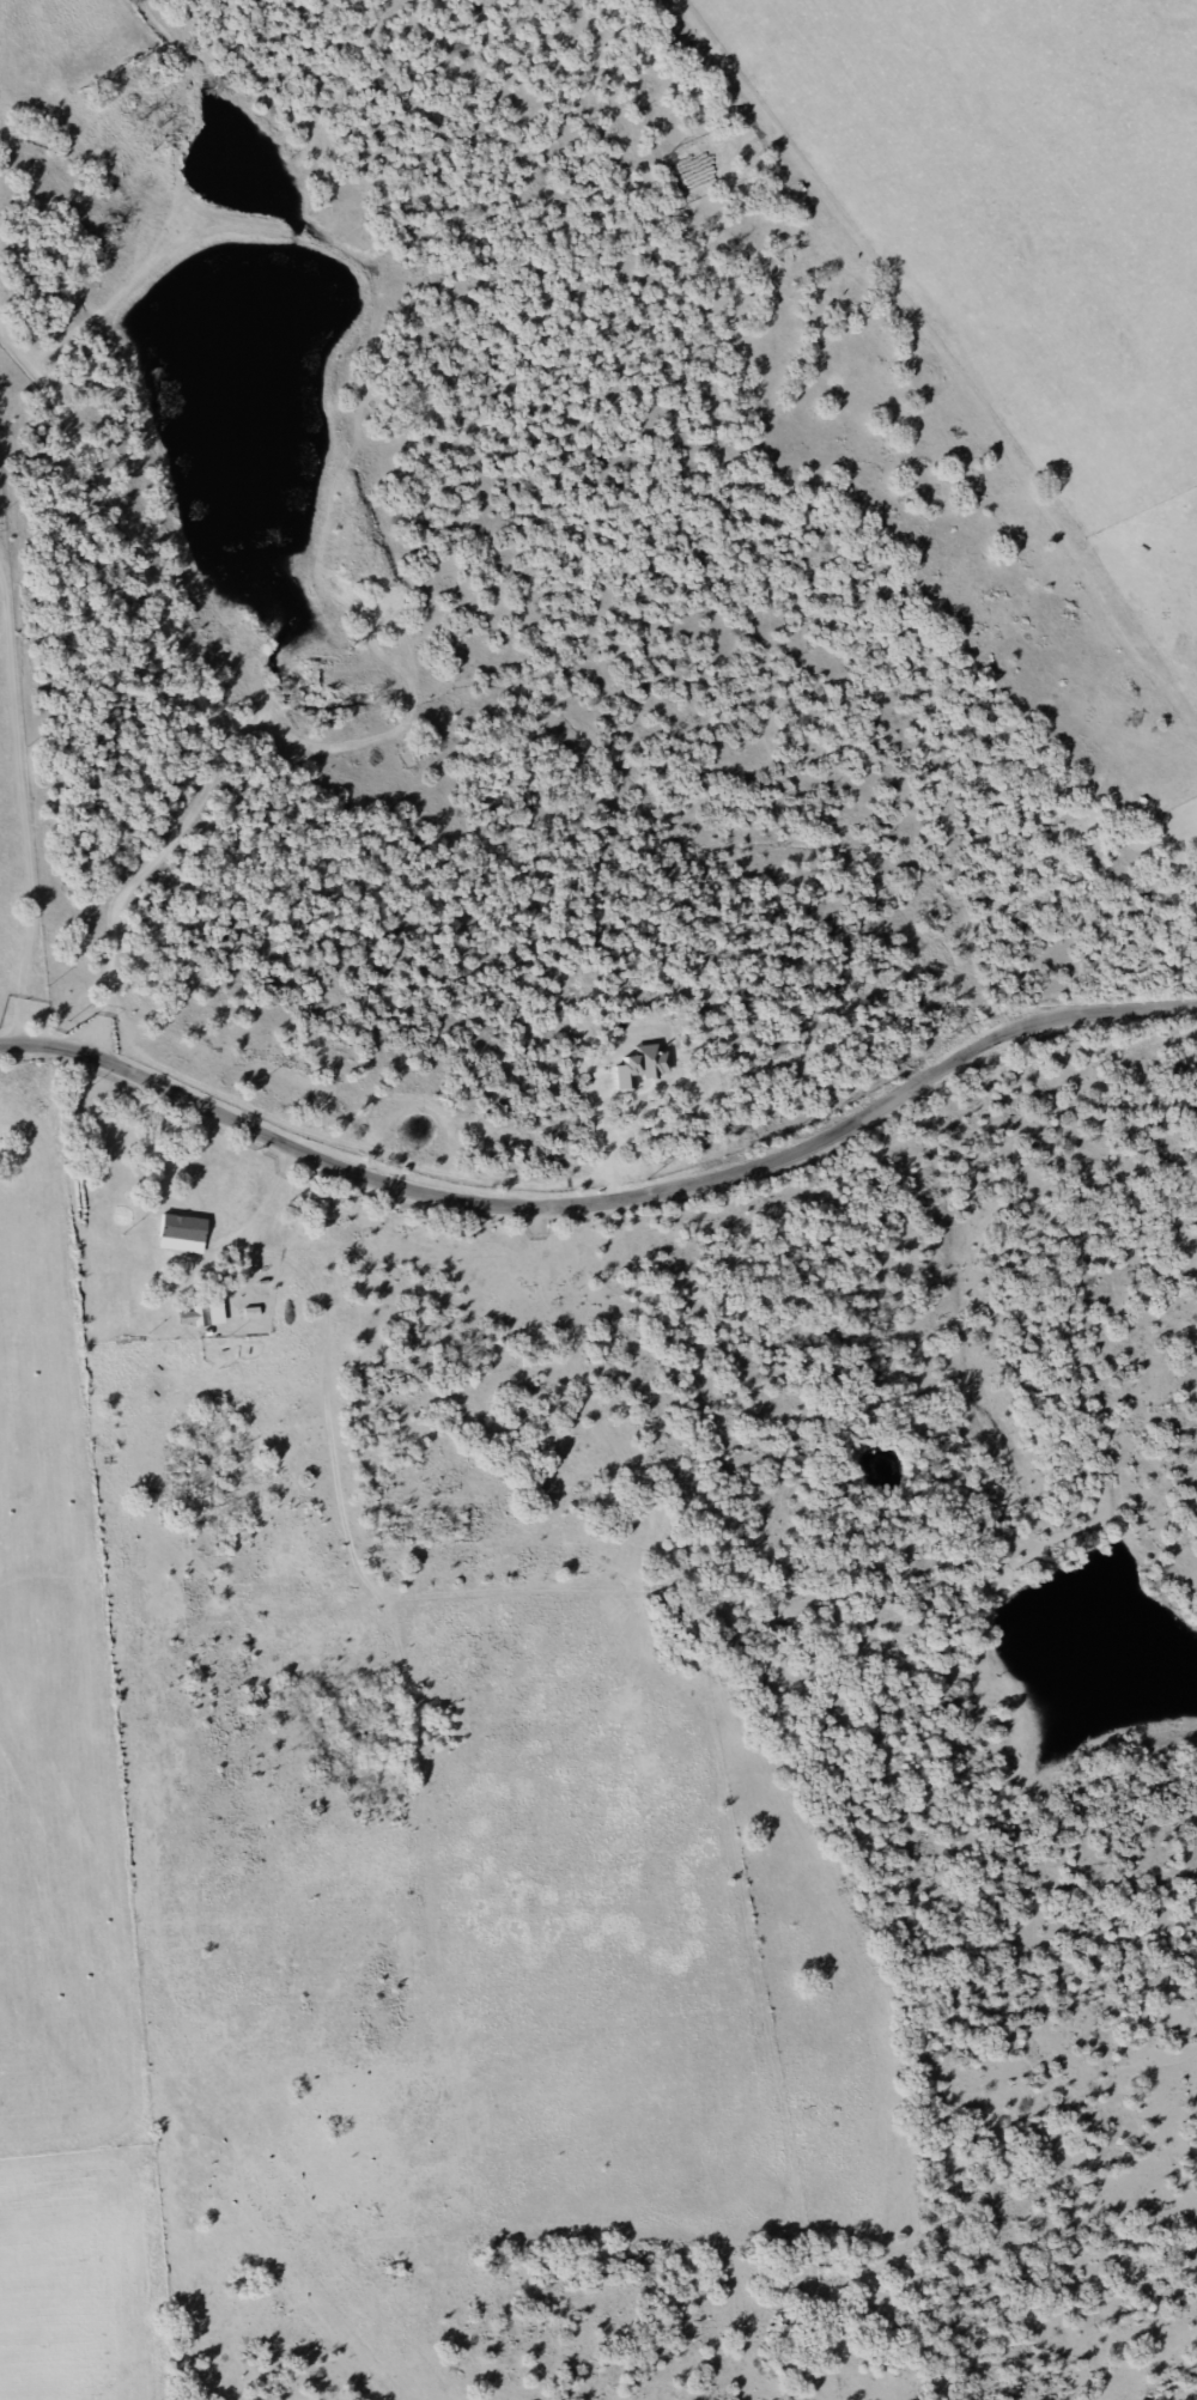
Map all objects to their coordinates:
road: (603, 1199)
road: (261, 1217)
building: (196, 1314)

